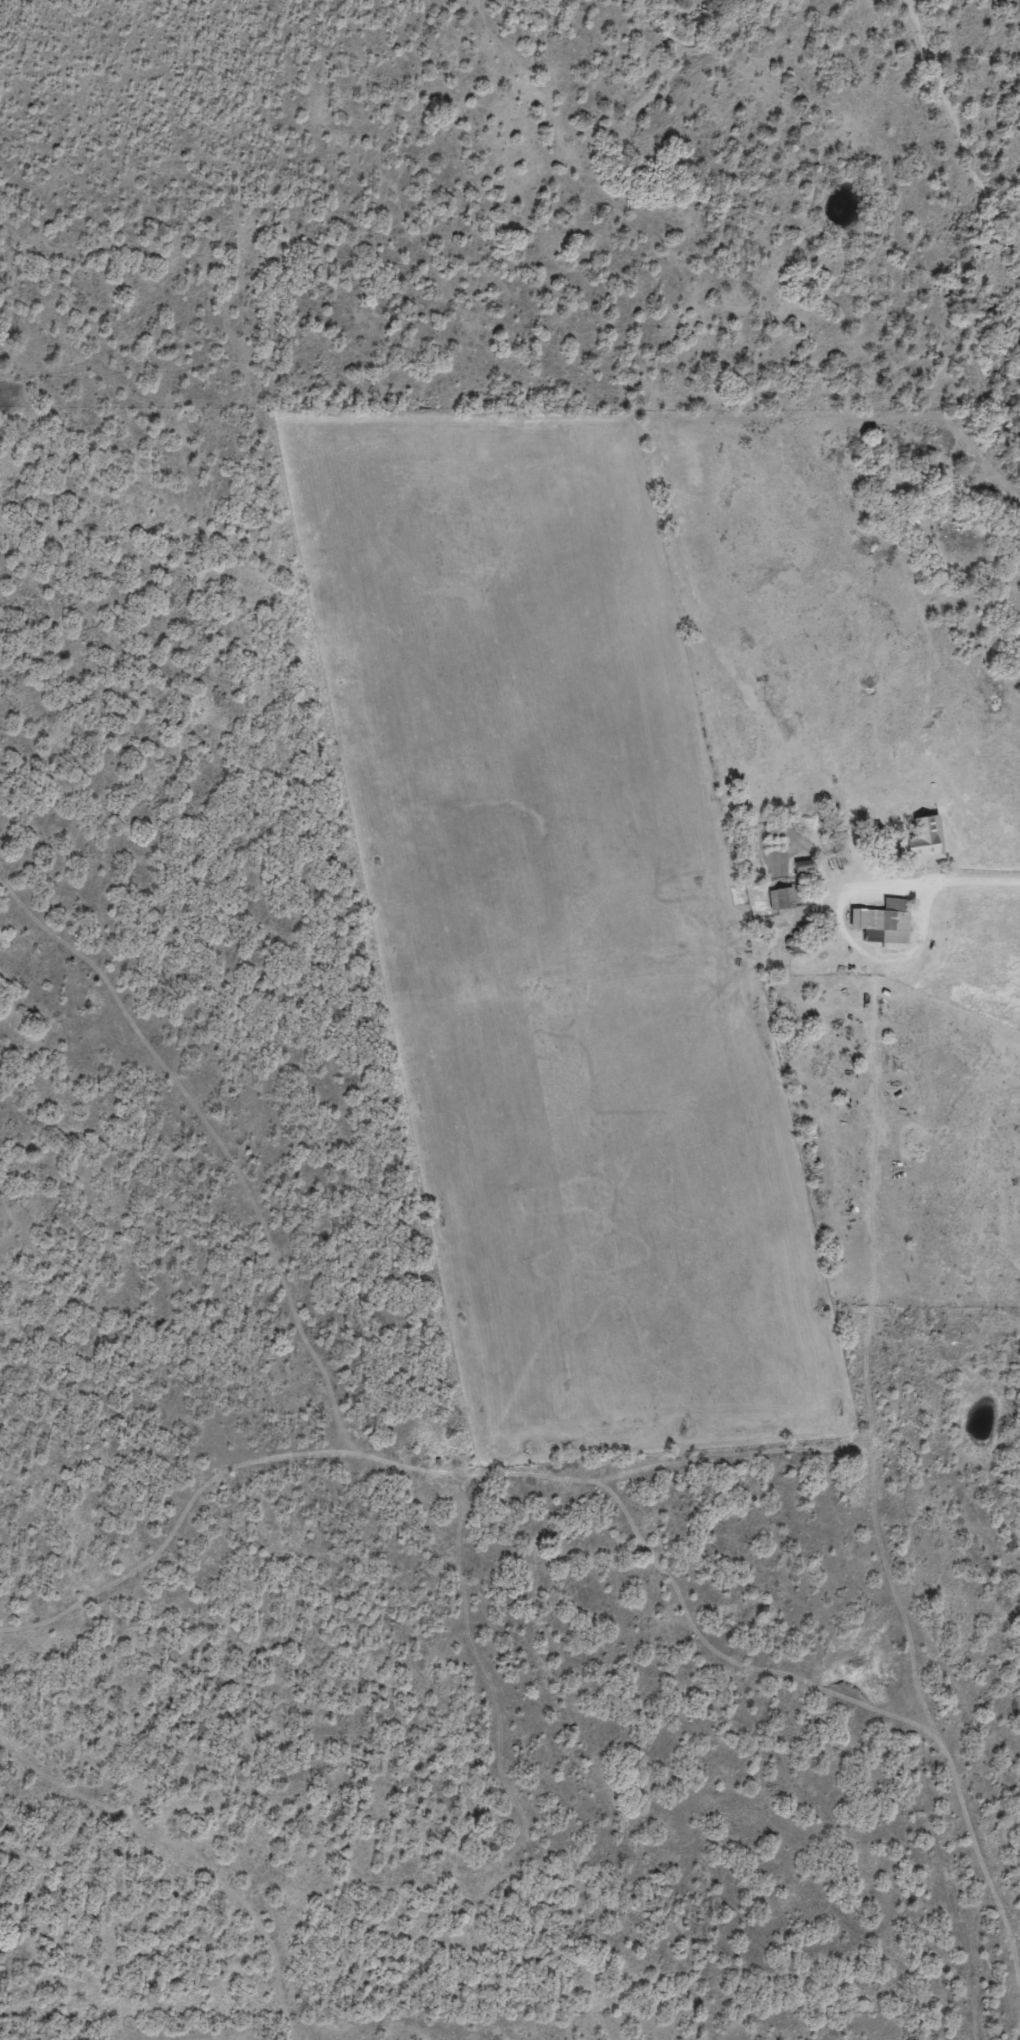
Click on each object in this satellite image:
building: (924, 847)
road: (973, 883)
building: (782, 905)
building: (885, 930)
road: (856, 945)

